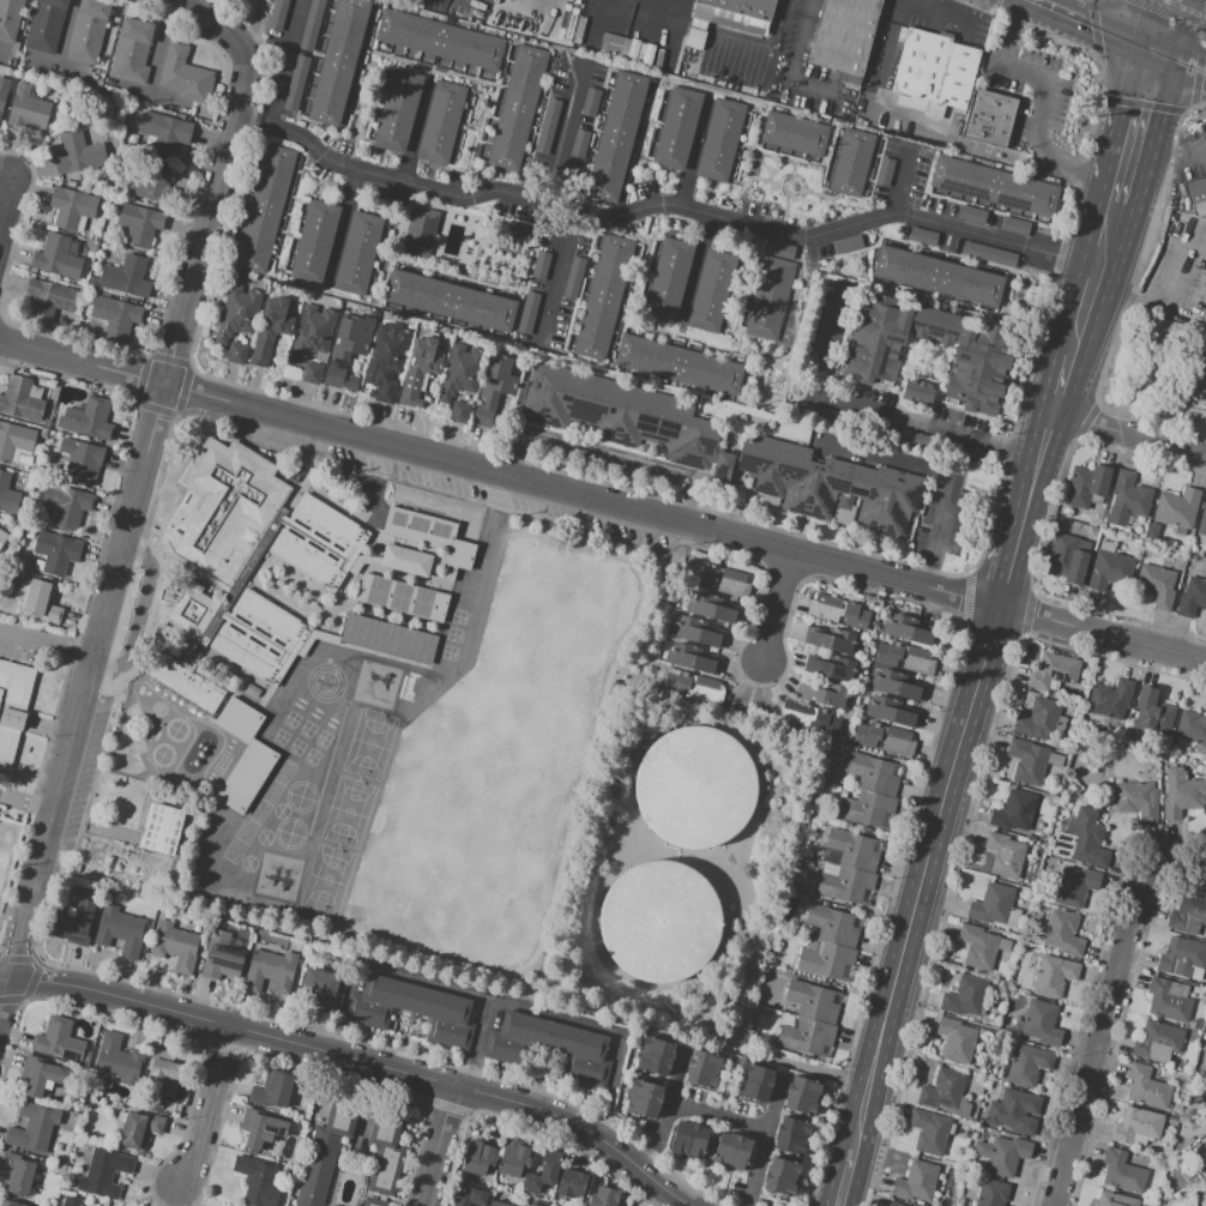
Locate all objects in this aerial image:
railway: (1190, 6)
building: (743, 7)
railway: (1177, 11)
building: (278, 14)
building: (10, 18)
road: (1087, 22)
road: (1146, 22)
building: (313, 24)
traffic signals: (1092, 24)
building: (46, 25)
road: (221, 30)
building: (88, 31)
building: (697, 31)
road: (1186, 31)
building: (843, 36)
road: (885, 38)
building: (438, 40)
road: (762, 46)
building: (633, 49)
building: (131, 50)
building: (641, 52)
road: (1159, 53)
building: (338, 61)
road: (1192, 67)
building: (935, 68)
road: (790, 70)
building: (185, 76)
building: (297, 84)
building: (2, 89)
road: (1045, 95)
building: (591, 103)
road: (1164, 104)
building: (517, 108)
building: (28, 110)
building: (398, 111)
traffic signals: (1162, 114)
building: (988, 119)
road: (1120, 120)
building: (441, 123)
road: (252, 125)
building: (548, 125)
building: (676, 128)
building: (165, 131)
building: (794, 133)
road: (561, 134)
building: (615, 137)
building: (720, 137)
road: (1133, 141)
building: (579, 144)
road: (1202, 147)
road: (1178, 151)
building: (78, 153)
road: (691, 157)
building: (849, 163)
building: (884, 173)
road: (8, 174)
road: (1141, 175)
road: (899, 180)
building: (151, 186)
building: (995, 186)
building: (1196, 192)
building: (71, 207)
building: (265, 207)
road: (8, 210)
building: (971, 215)
road: (604, 217)
building: (139, 223)
building: (1014, 227)
building: (418, 231)
building: (923, 236)
building: (313, 241)
building: (846, 245)
building: (780, 251)
road: (1117, 252)
building: (358, 253)
building: (989, 253)
building: (55, 258)
building: (541, 264)
road: (694, 267)
building: (460, 270)
road: (1079, 271)
building: (935, 273)
building: (126, 276)
road: (556, 276)
building: (572, 278)
building: (669, 279)
building: (711, 290)
building: (607, 293)
building: (49, 299)
building: (770, 299)
building: (448, 301)
road: (838, 307)
building: (527, 312)
building: (113, 320)
building: (254, 320)
building: (818, 325)
building: (312, 332)
building: (354, 337)
building: (235, 352)
road: (1085, 356)
building: (386, 358)
road: (825, 360)
building: (869, 362)
building: (679, 366)
building: (420, 369)
building: (459, 372)
building: (312, 374)
building: (333, 376)
road: (1051, 378)
building: (1196, 379)
building: (351, 386)
building: (494, 390)
building: (916, 393)
building: (20, 402)
building: (1205, 406)
building: (459, 412)
building: (620, 414)
building: (824, 415)
building: (91, 420)
building: (46, 422)
road: (924, 422)
road: (1123, 429)
building: (43, 433)
building: (14, 440)
road: (1036, 444)
building: (936, 445)
building: (82, 460)
building: (826, 484)
building: (319, 486)
building: (1085, 486)
building: (7, 495)
building: (1127, 499)
road: (602, 502)
building: (67, 505)
building: (1177, 507)
building: (222, 511)
road: (1033, 511)
building: (1202, 521)
building: (1152, 529)
road: (126, 537)
building: (430, 537)
road: (935, 537)
building: (2, 538)
building: (319, 542)
road: (1014, 543)
building: (1106, 545)
building: (1177, 548)
building: (56, 551)
building: (405, 560)
building: (1067, 560)
building: (1109, 571)
building: (723, 580)
building: (1156, 585)
building: (402, 598)
building: (1192, 598)
building: (41, 601)
road: (782, 607)
building: (713, 608)
building: (185, 610)
building: (838, 611)
road: (140, 619)
building: (909, 629)
building: (699, 631)
building: (259, 638)
building: (831, 639)
building: (387, 640)
road: (48, 643)
park: (514, 653)
building: (904, 657)
building: (689, 658)
building: (831, 667)
building: (1053, 671)
park: (569, 673)
building: (686, 679)
building: (700, 681)
building: (183, 683)
building: (897, 685)
building: (252, 691)
building: (824, 694)
building: (1109, 698)
building: (797, 706)
building: (12, 707)
building: (1152, 711)
building: (892, 712)
building: (1038, 719)
building: (825, 723)
building: (1192, 726)
building: (886, 737)
track: (175, 740)
park: (369, 742)
building: (848, 742)
track: (185, 748)
building: (243, 756)
building: (1026, 761)
building: (873, 773)
park: (440, 788)
building: (695, 788)
building: (1181, 794)
building: (1138, 800)
road: (26, 803)
park: (493, 809)
building: (867, 809)
park: (348, 810)
building: (1013, 812)
building: (161, 830)
building: (1083, 839)
building: (850, 850)
building: (1003, 855)
road: (1181, 869)
park: (326, 879)
road: (924, 880)
building: (845, 884)
building: (1074, 886)
building: (991, 904)
building: (1188, 916)
building: (1012, 917)
building: (658, 923)
building: (74, 924)
building: (833, 925)
building: (119, 930)
building: (1057, 934)
building: (1003, 945)
building: (809, 946)
building: (175, 947)
building: (978, 947)
building: (1181, 957)
building: (221, 958)
building: (827, 961)
building: (771, 963)
building: (271, 971)
building: (1054, 976)
road: (424, 981)
building: (322, 989)
building: (964, 996)
building: (1168, 999)
building: (813, 1001)
building: (412, 1009)
building: (1041, 1023)
road: (602, 1031)
road: (1104, 1033)
building: (812, 1038)
building: (58, 1041)
building: (955, 1041)
building: (1157, 1042)
building: (549, 1047)
building: (1007, 1050)
building: (655, 1055)
building: (117, 1060)
road: (356, 1061)
building: (163, 1065)
building: (1027, 1065)
building: (701, 1069)
building: (41, 1075)
building: (979, 1078)
building: (165, 1083)
building: (754, 1083)
building: (1146, 1087)
building: (273, 1089)
building: (946, 1092)
building: (801, 1096)
building: (183, 1098)
building: (644, 1098)
building: (156, 1106)
road: (209, 1106)
building: (1015, 1112)
road: (665, 1115)
building: (120, 1116)
road: (718, 1117)
building: (1171, 1121)
building: (1136, 1124)
building: (32, 1128)
building: (260, 1128)
building: (139, 1129)
building: (930, 1132)
road: (765, 1136)
building: (790, 1136)
building: (689, 1139)
building: (325, 1147)
road: (439, 1147)
building: (730, 1150)
building: (251, 1151)
building: (385, 1151)
building: (1002, 1154)
building: (513, 1158)
building: (477, 1159)
building: (60, 1166)
building: (1122, 1171)
building: (17, 1172)
building: (542, 1172)
building: (104, 1174)
building: (779, 1177)
road: (840, 1180)
building: (257, 1181)
building: (916, 1181)
building: (571, 1183)
building: (991, 1193)
building: (472, 1196)
building: (604, 1196)
building: (382, 1198)
building: (1115, 1200)
building: (71, 1201)
building: (374, 1202)
building: (1147, 1202)
building: (8, 1204)
building: (496, 1204)
building: (532, 1205)
building: (896, 1205)

